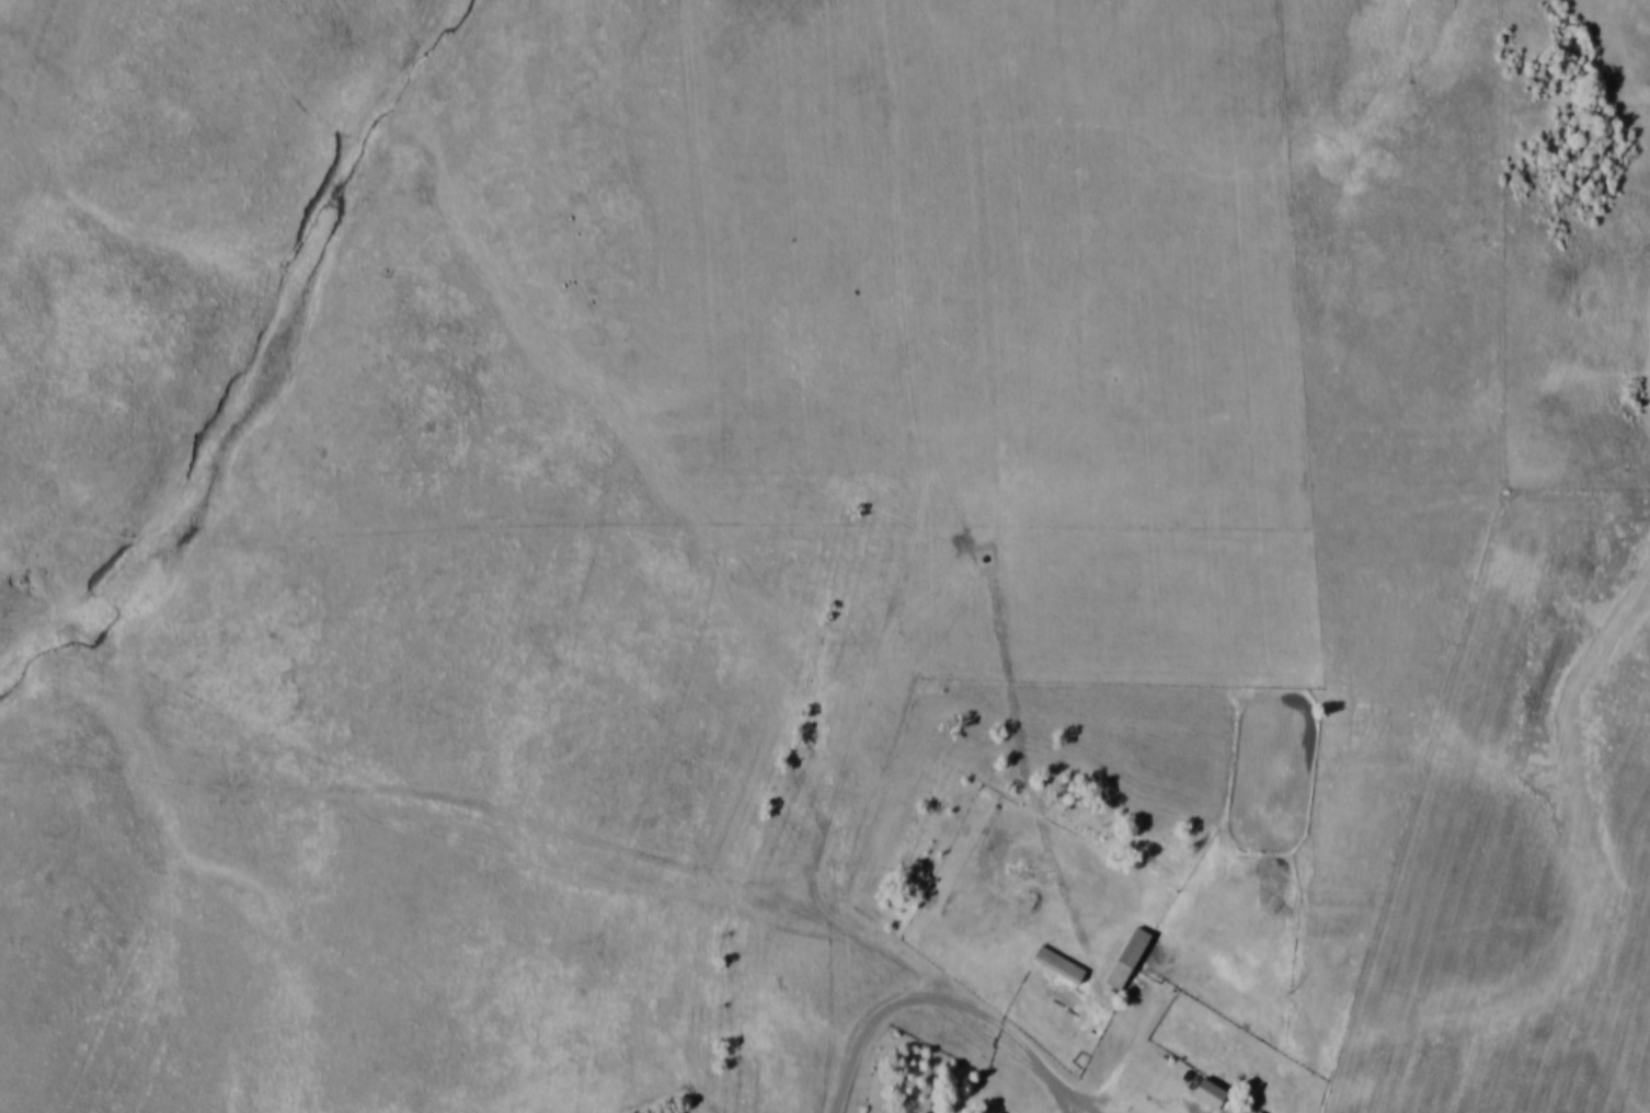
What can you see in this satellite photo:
road: (489, 805)
building: (1125, 957)
building: (1057, 963)
road: (953, 997)
building: (1207, 1092)
road: (1062, 1093)
building: (1231, 1112)

